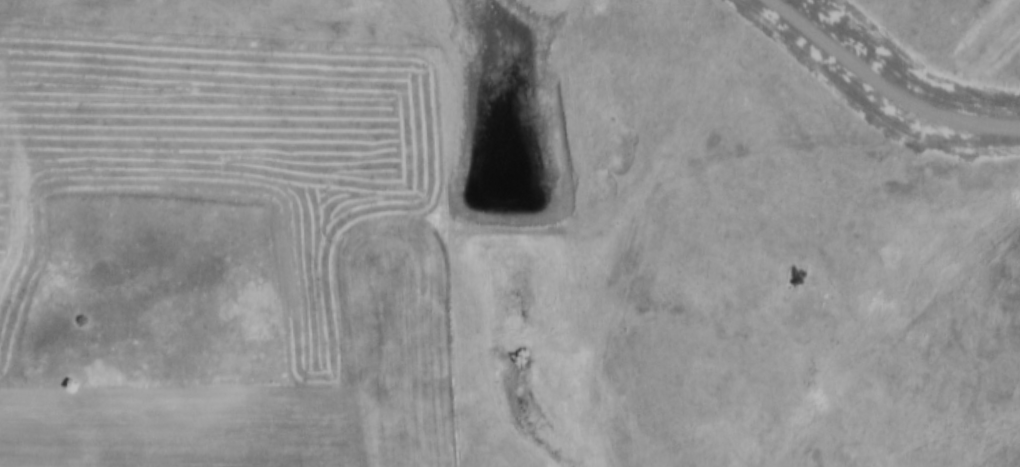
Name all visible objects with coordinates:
road: (871, 80)
road: (687, 168)

